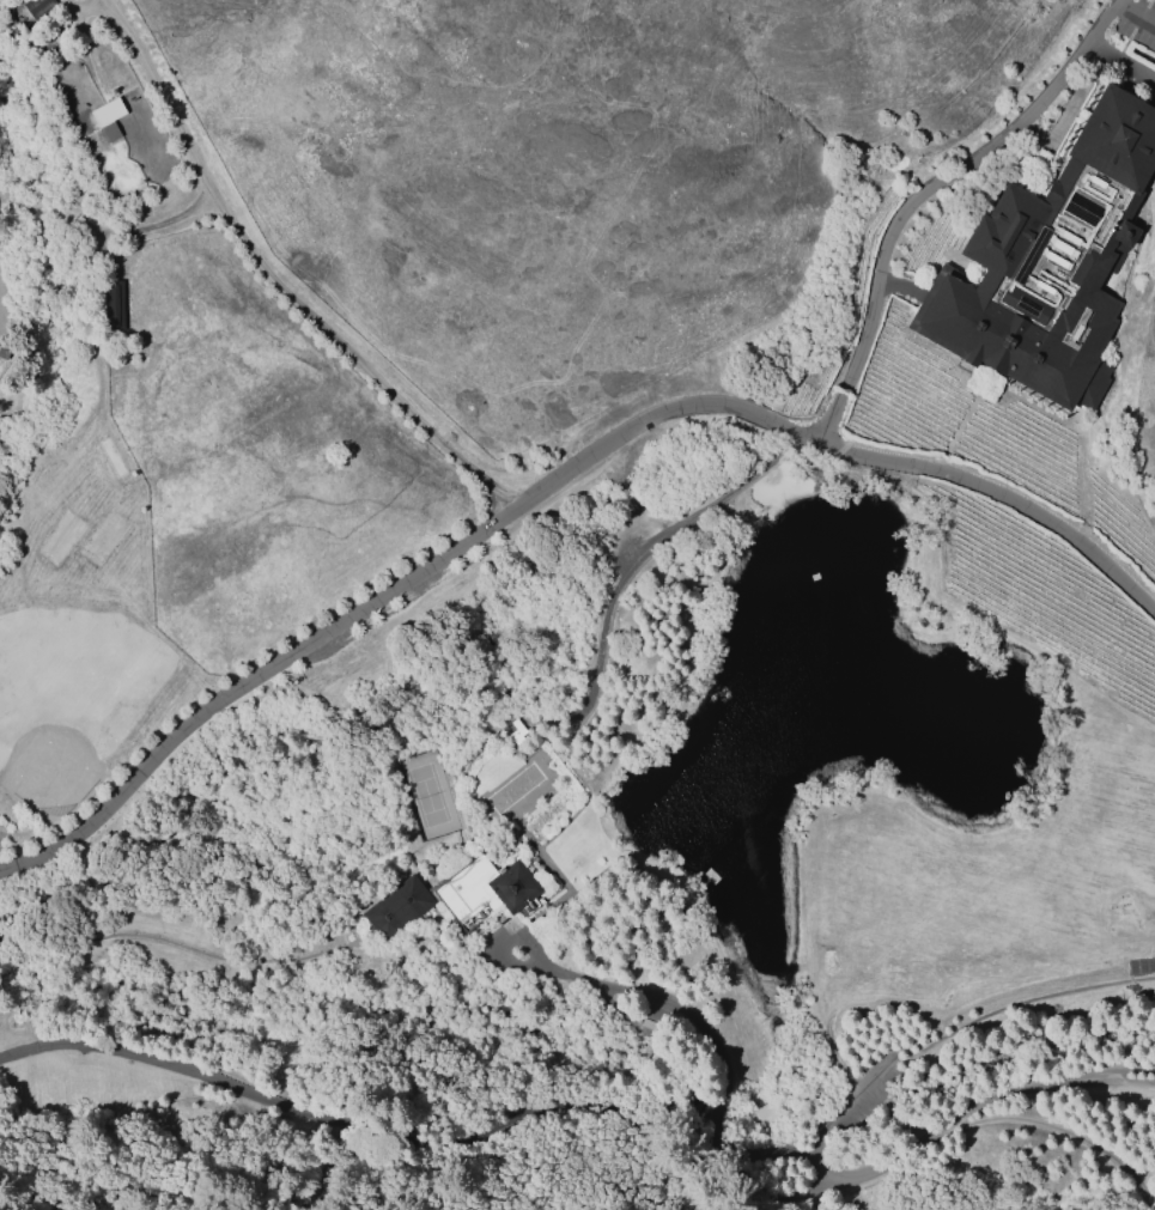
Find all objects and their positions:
building: (37, 7)
parking lot: (1139, 57)
building: (105, 116)
road: (925, 191)
parking lot: (910, 231)
building: (1054, 260)
road: (275, 281)
road: (899, 286)
parking lot: (920, 299)
building: (117, 304)
road: (759, 415)
road: (981, 487)
road: (651, 548)
road: (358, 613)
park: (71, 699)
park: (425, 796)
building: (460, 896)
road: (719, 1042)
road: (595, 1102)
road: (1048, 1126)

